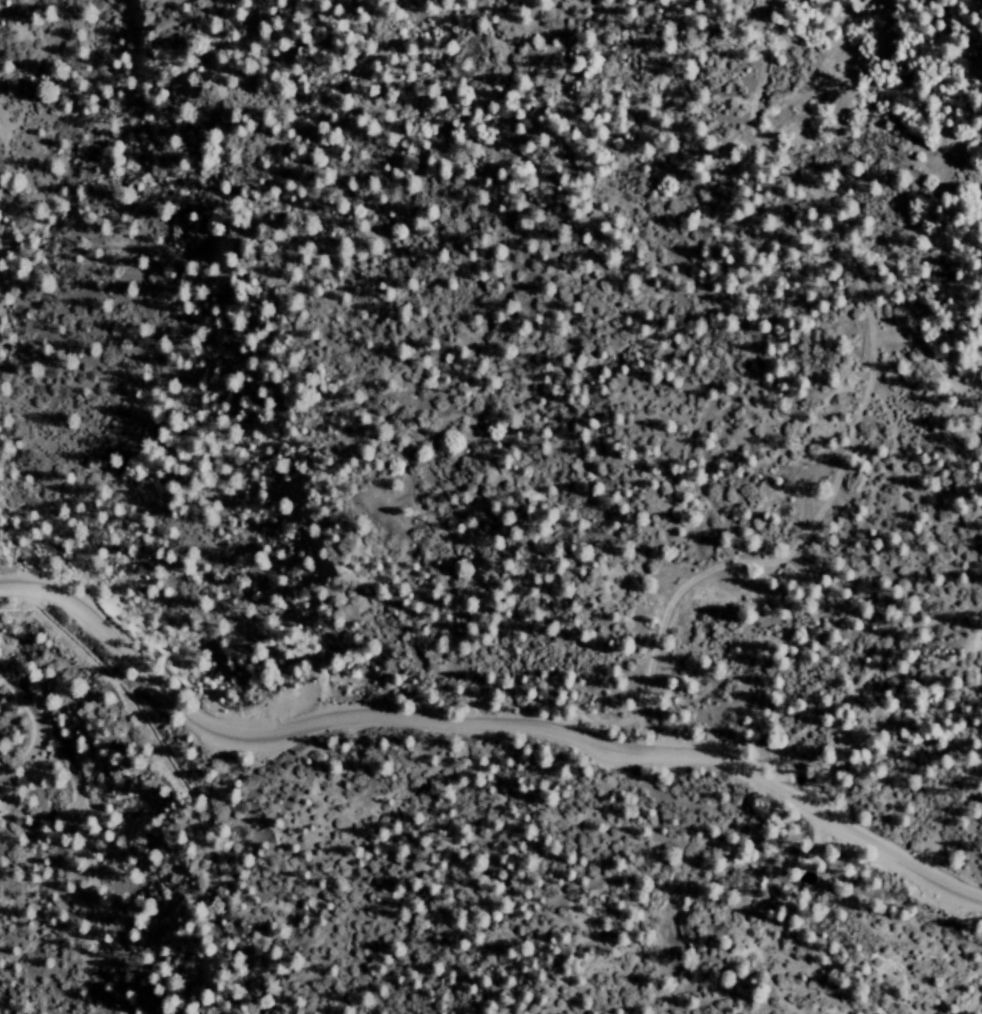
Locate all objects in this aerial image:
road: (854, 415)
road: (483, 717)

